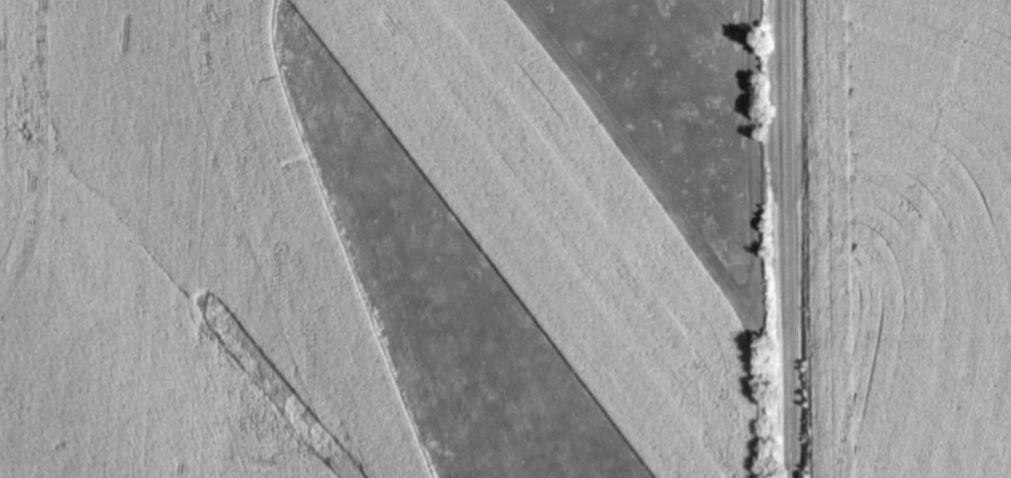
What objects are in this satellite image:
road: (785, 239)

